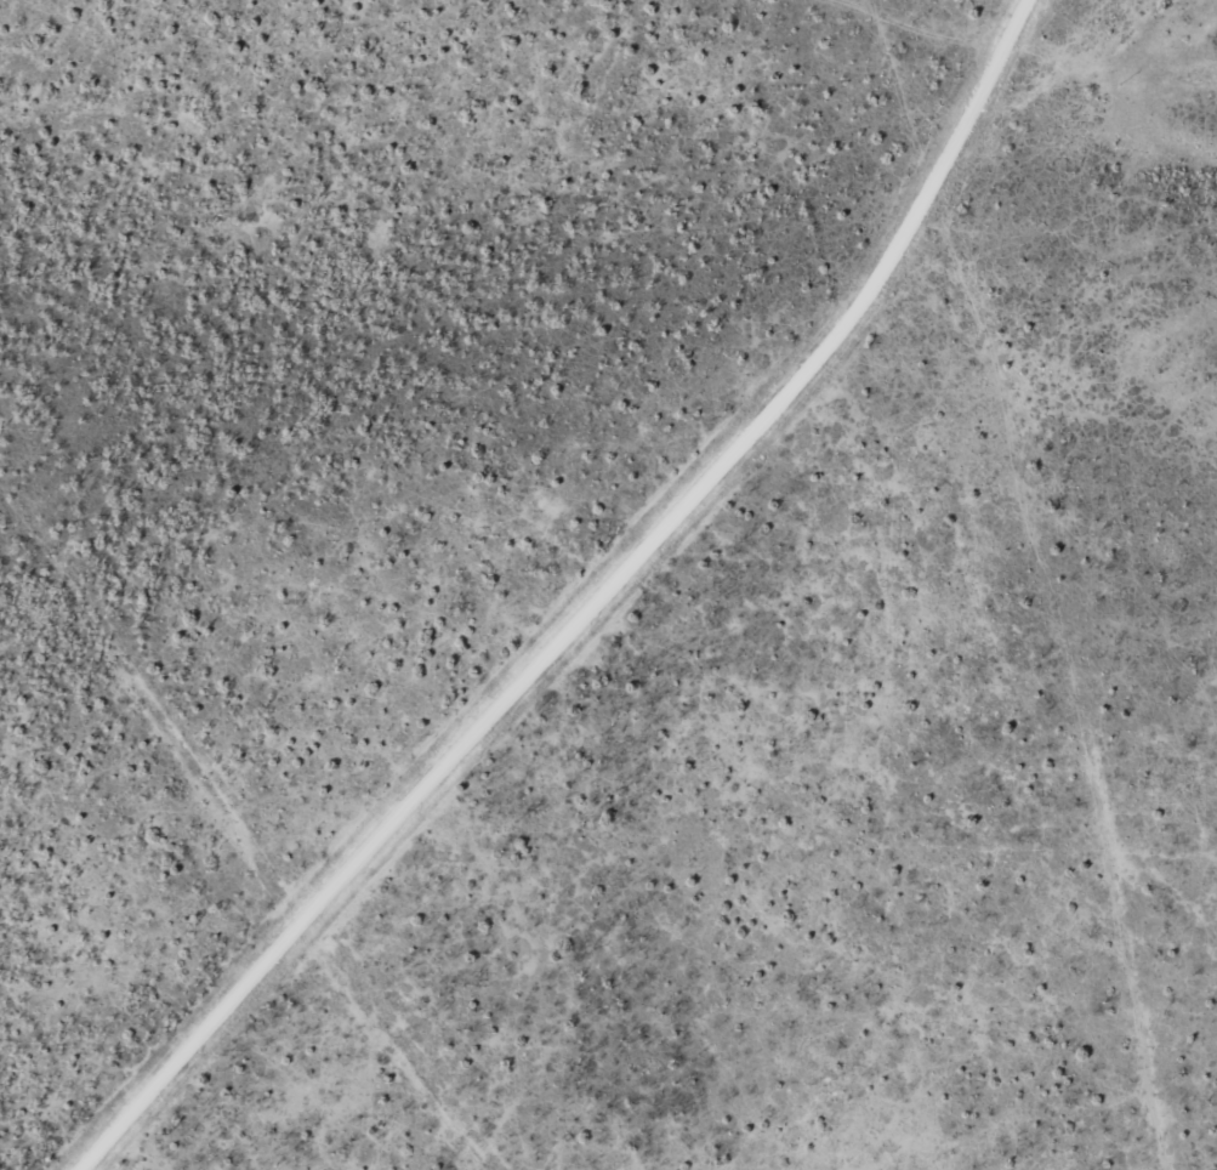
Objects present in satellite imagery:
road: (991, 589)

